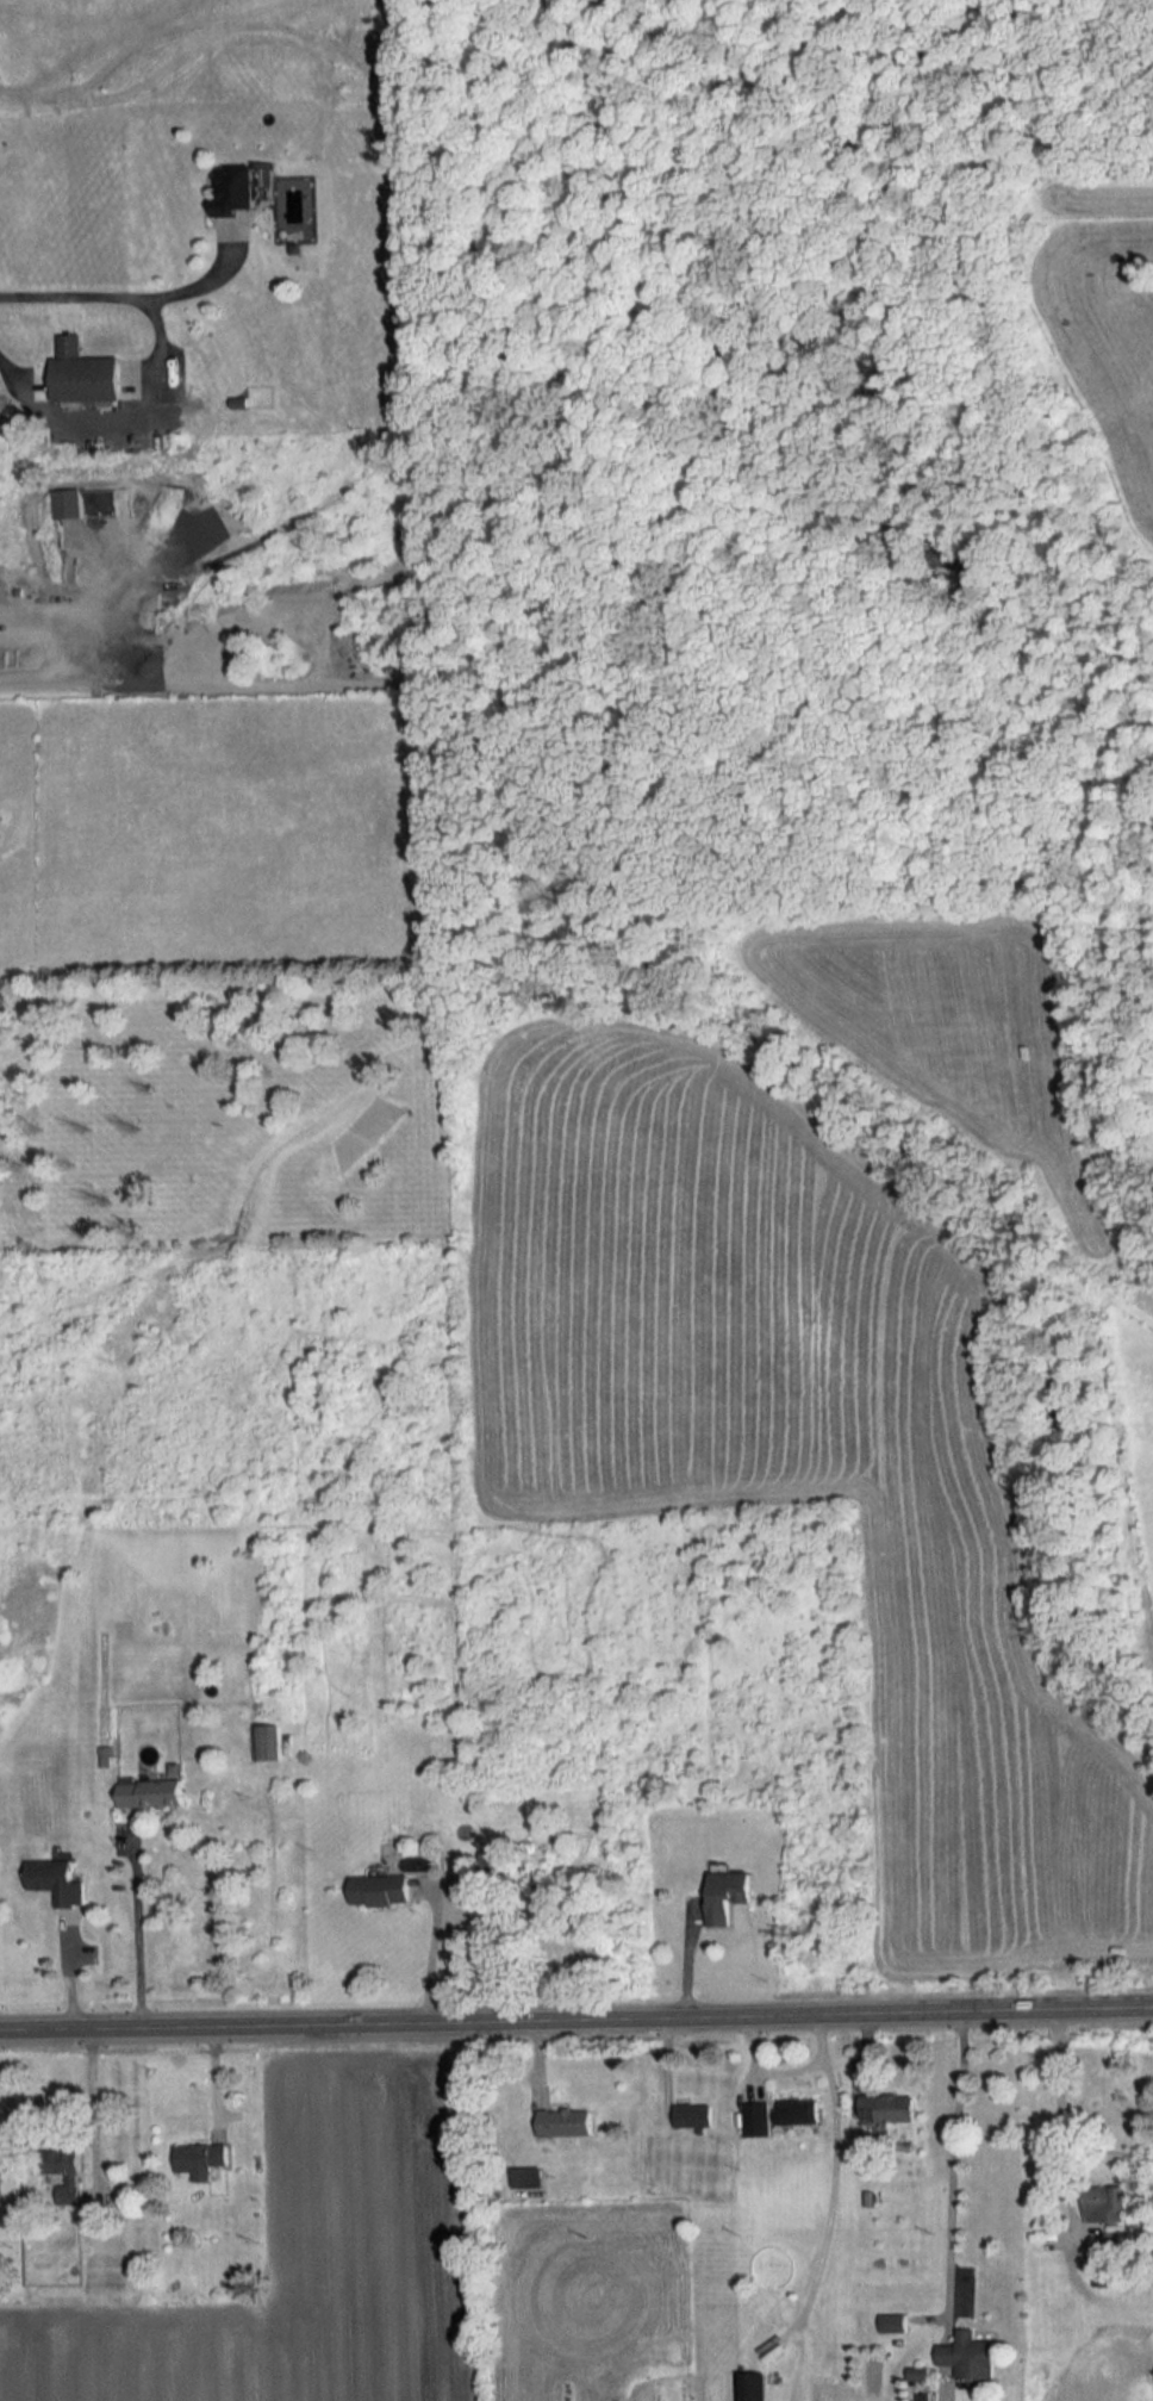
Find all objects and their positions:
building: (237, 189)
road: (126, 294)
building: (81, 373)
building: (104, 502)
building: (266, 1742)
building: (149, 1792)
building: (493, 1861)
building: (54, 1880)
building: (378, 1889)
building: (728, 1893)
road: (139, 1927)
road: (434, 1948)
road: (576, 2015)
road: (767, 2065)
road: (93, 2097)
building: (886, 2107)
building: (799, 2110)
road: (1060, 2110)
building: (693, 2115)
building: (755, 2117)
building: (565, 2121)
building: (199, 2158)
road: (953, 2159)
building: (2, 2160)
building: (64, 2173)
road: (834, 2173)
building: (524, 2177)
building: (1105, 2203)
building: (892, 2322)
building: (970, 2355)
building: (921, 2383)
building: (752, 2386)

